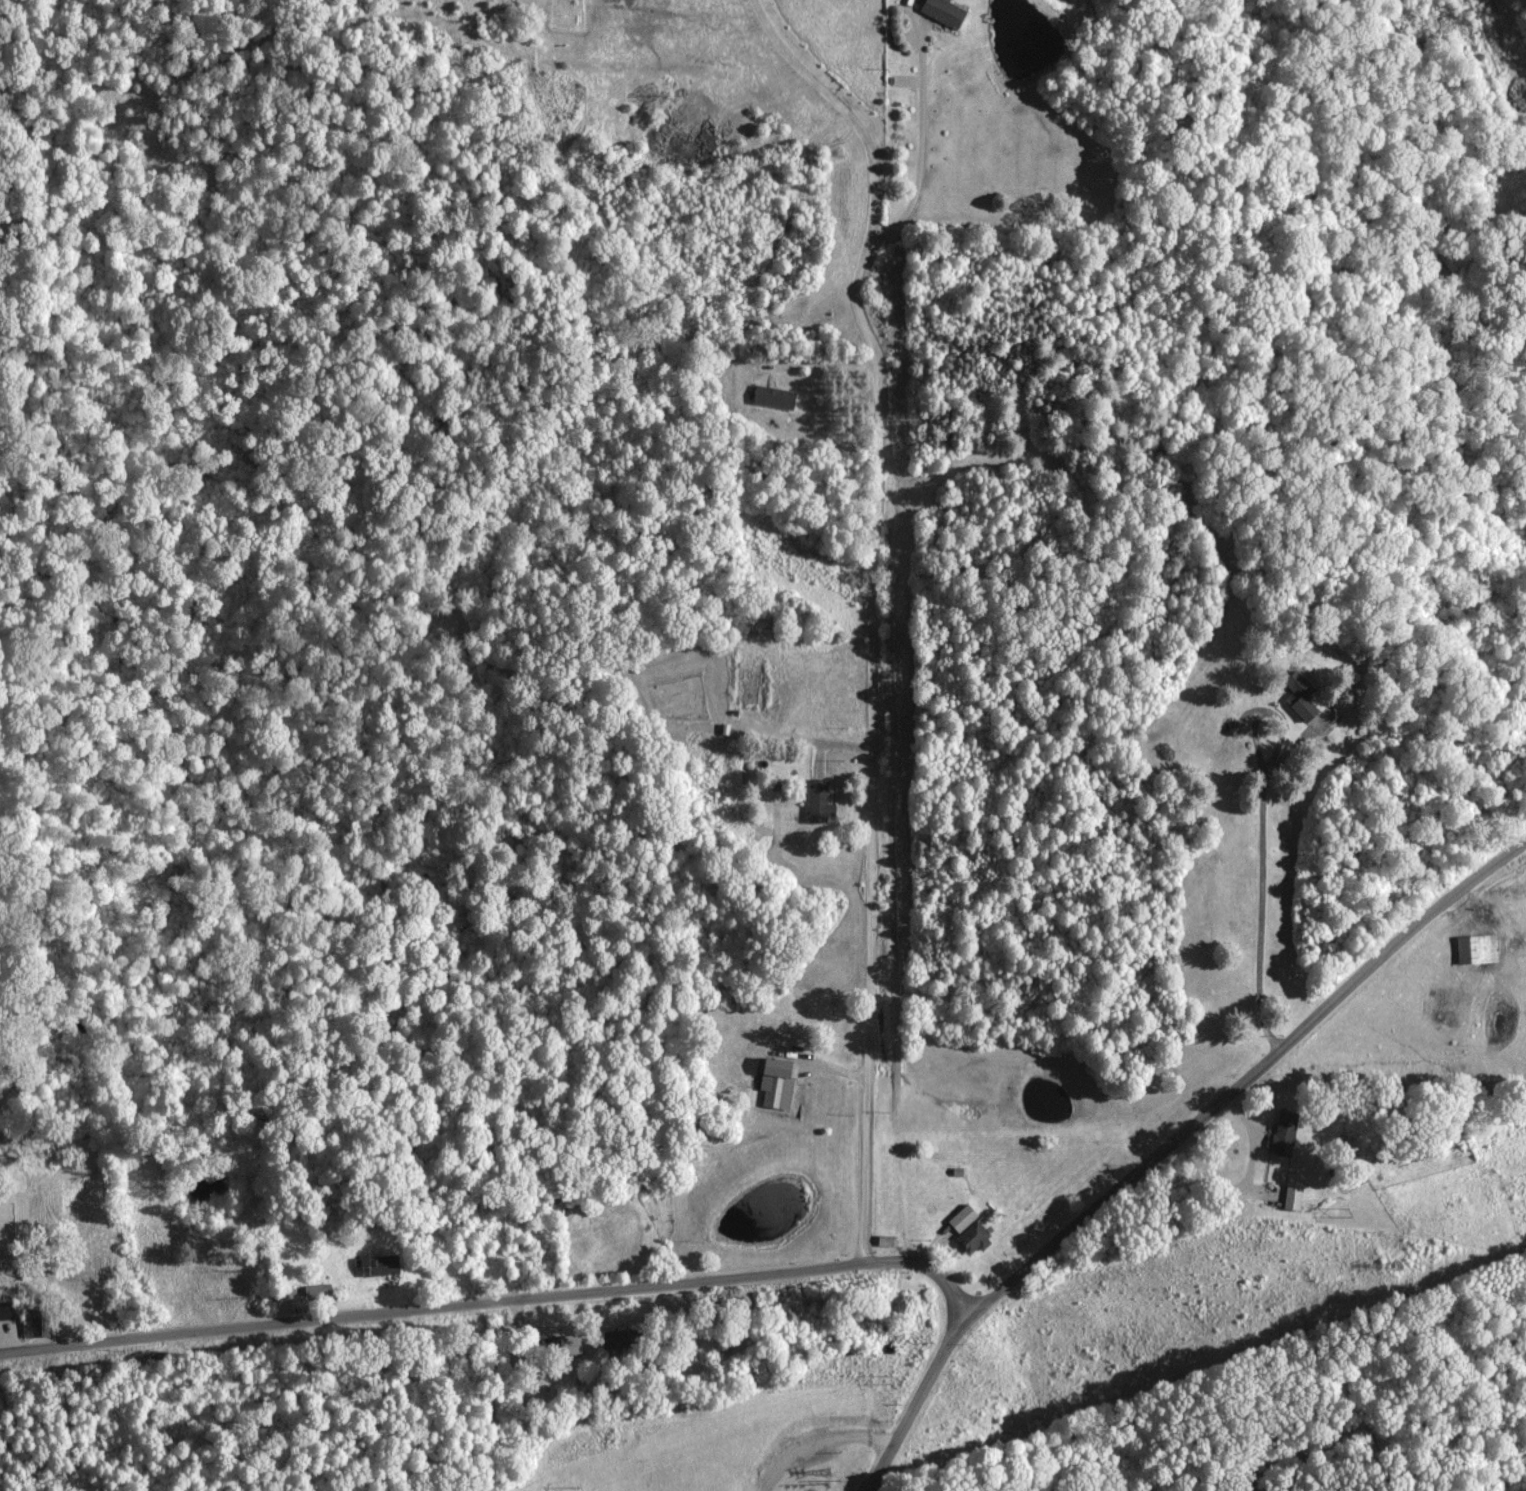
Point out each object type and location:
building: (941, 11)
building: (772, 397)
building: (747, 688)
building: (1298, 697)
road: (873, 745)
building: (816, 802)
building: (1474, 950)
building: (773, 1082)
building: (1281, 1132)
road: (1168, 1142)
building: (1291, 1199)
building: (966, 1232)
building: (85, 1261)
building: (376, 1266)
road: (496, 1300)
building: (34, 1324)
building: (612, 1342)

